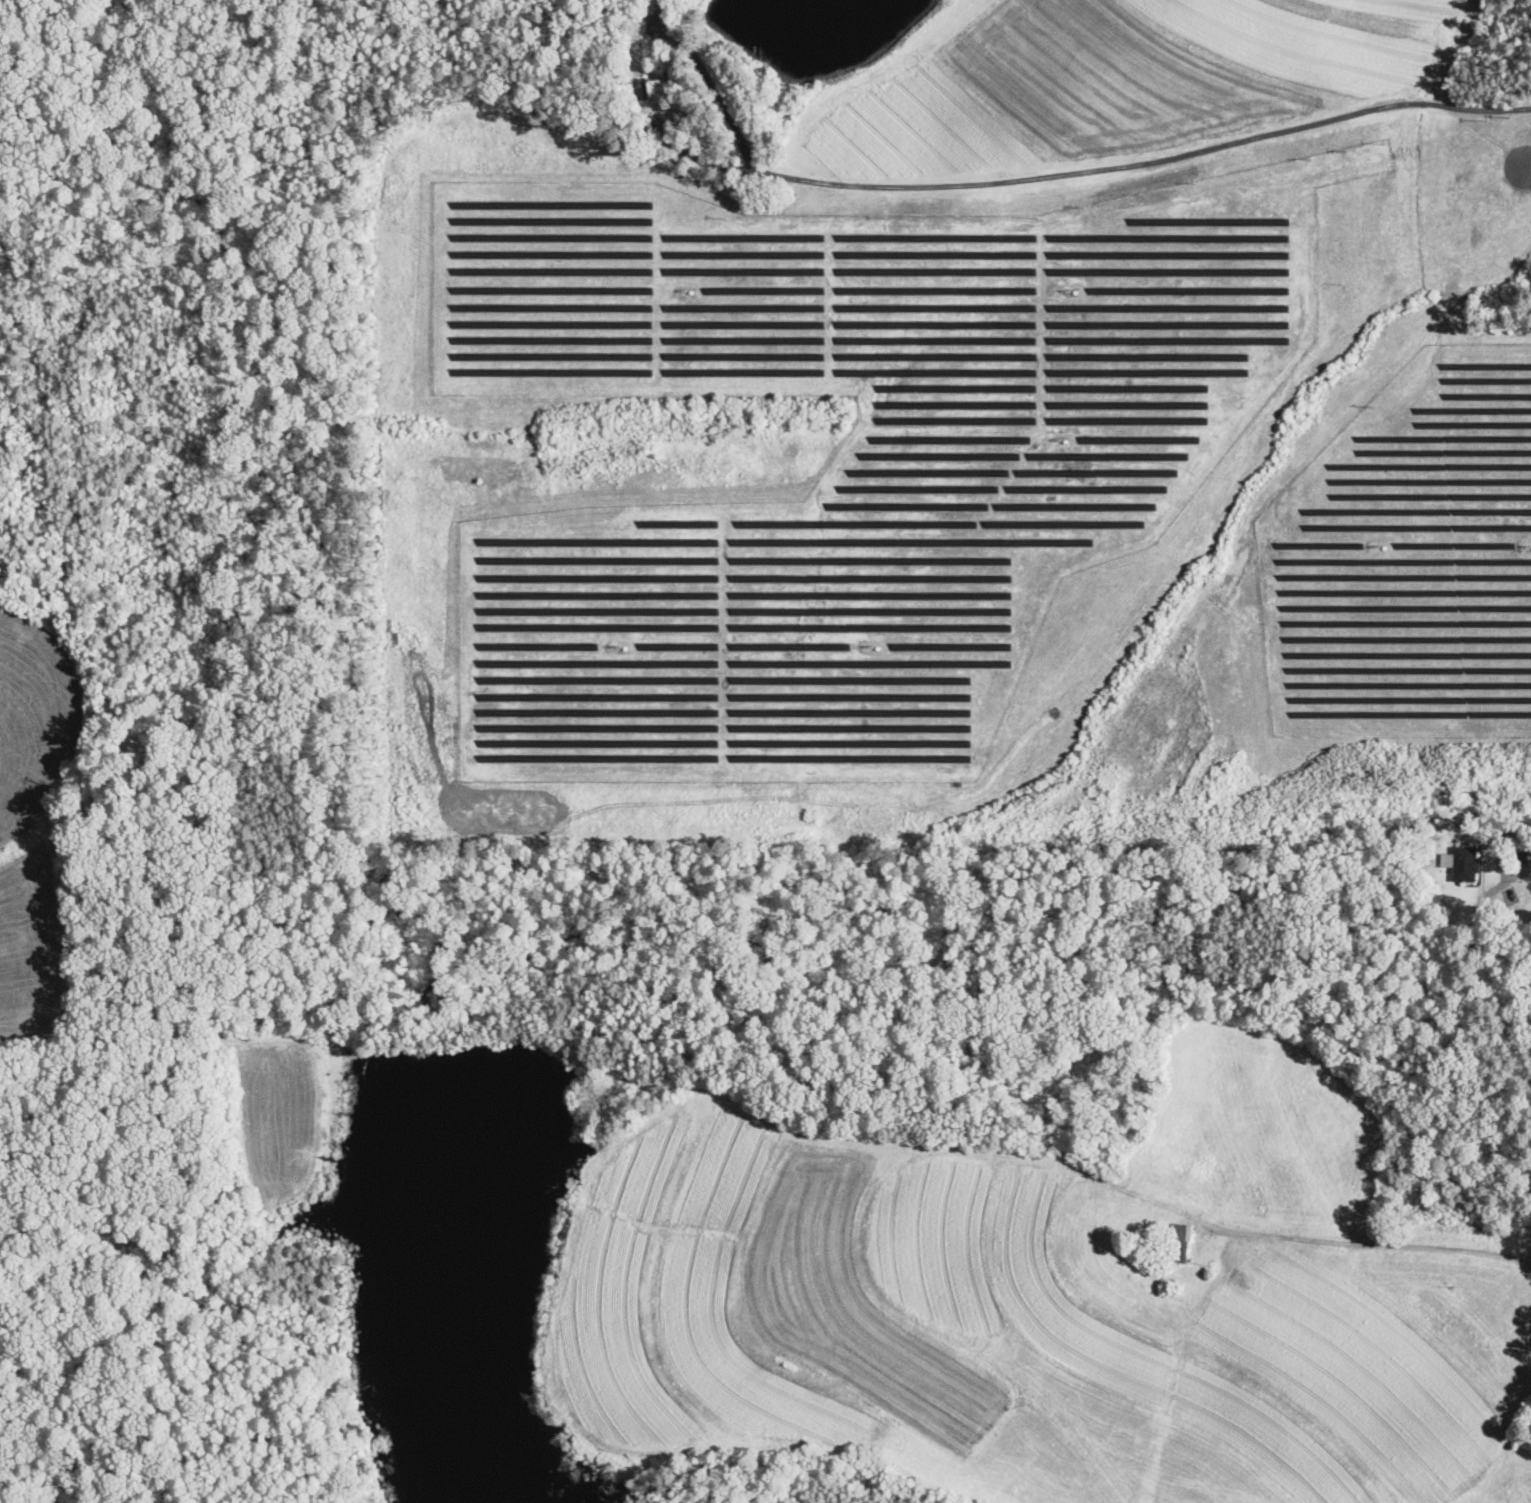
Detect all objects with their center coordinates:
solar farm: (845, 460)
solar farm: (1409, 566)
building: (1466, 864)

